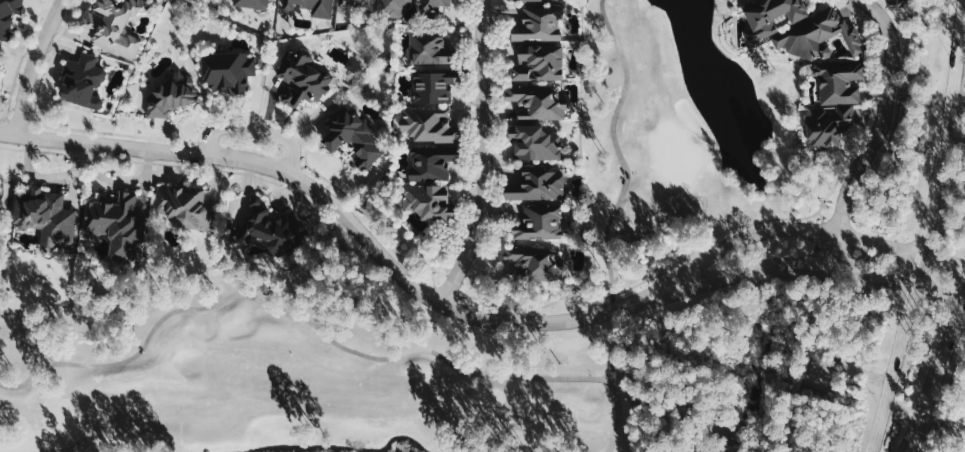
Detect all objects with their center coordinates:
building: (514, 0)
building: (357, 2)
building: (252, 5)
building: (436, 5)
building: (291, 6)
building: (324, 7)
building: (392, 7)
building: (10, 14)
building: (771, 16)
building: (117, 22)
building: (537, 23)
building: (821, 37)
building: (428, 48)
road: (20, 56)
building: (538, 62)
road: (33, 65)
road: (44, 68)
building: (227, 69)
building: (89, 77)
building: (299, 78)
building: (432, 86)
building: (167, 95)
road: (958, 100)
building: (94, 102)
building: (536, 102)
building: (844, 106)
road: (268, 120)
road: (9, 123)
building: (428, 124)
road: (254, 128)
road: (875, 131)
road: (955, 131)
road: (124, 133)
building: (353, 137)
building: (535, 143)
road: (618, 153)
road: (481, 156)
park: (676, 156)
building: (431, 163)
road: (176, 164)
building: (536, 185)
road: (833, 185)
building: (207, 198)
building: (426, 199)
road: (332, 202)
building: (184, 207)
building: (47, 216)
building: (539, 222)
building: (116, 224)
building: (268, 228)
road: (926, 228)
road: (791, 230)
park: (631, 249)
building: (531, 261)
road: (797, 264)
road: (963, 300)
road: (550, 302)
road: (295, 314)
road: (935, 372)
road: (610, 381)
road: (943, 400)
road: (952, 433)

